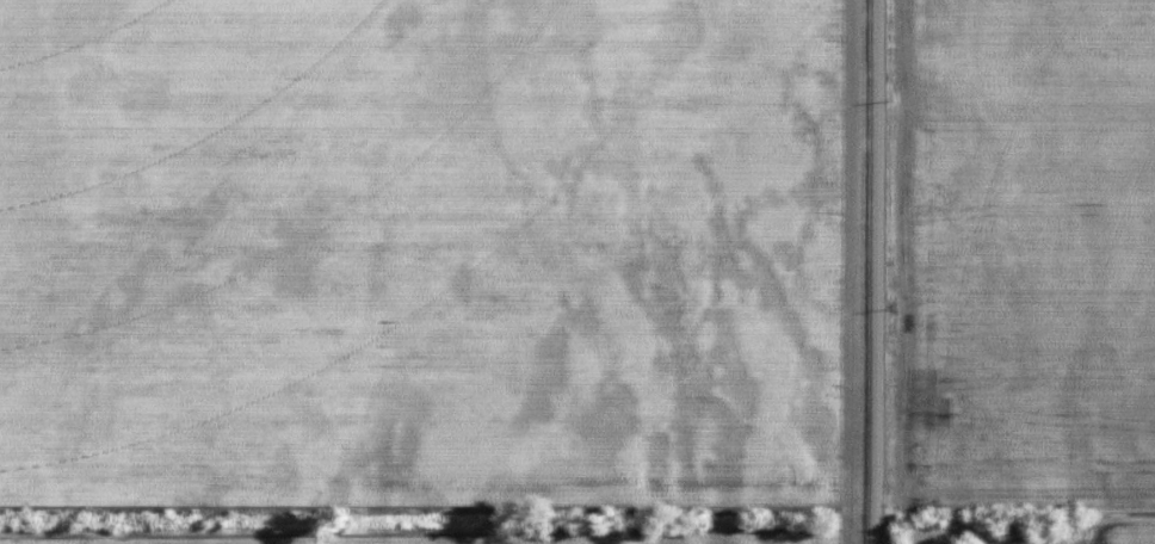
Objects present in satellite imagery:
road: (883, 272)

